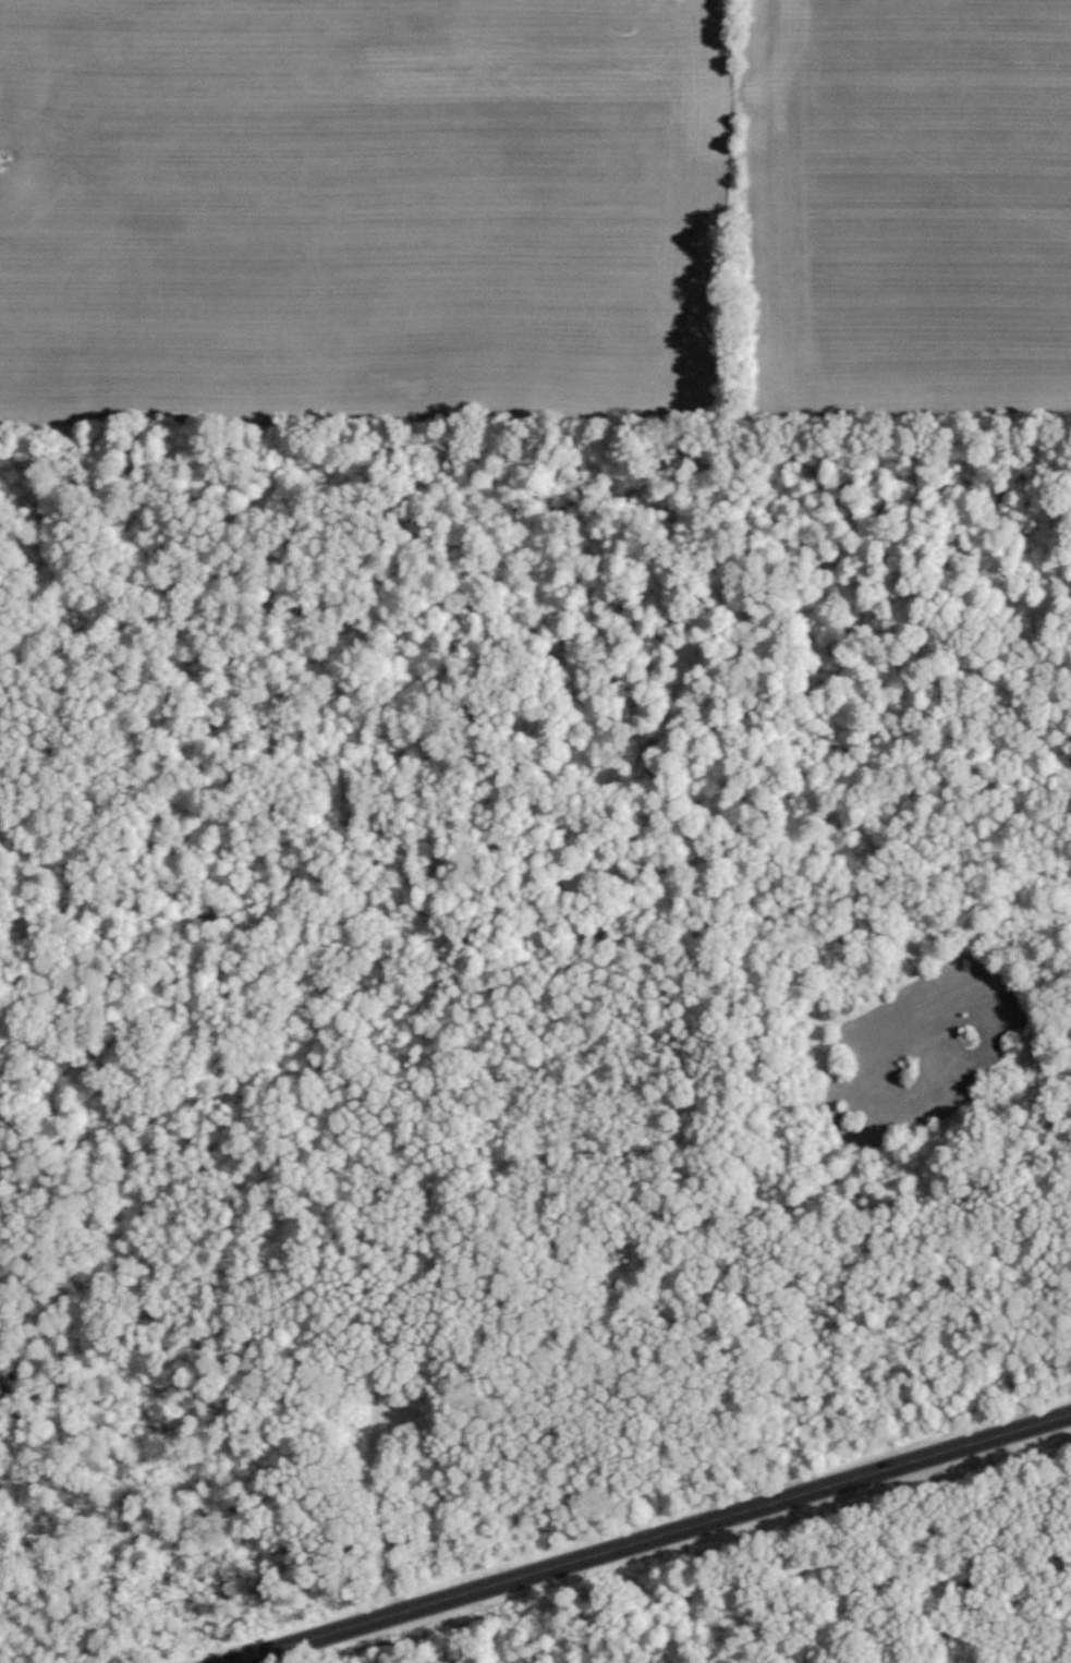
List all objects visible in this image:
road: (625, 1533)
road: (278, 1649)
road: (236, 1655)

